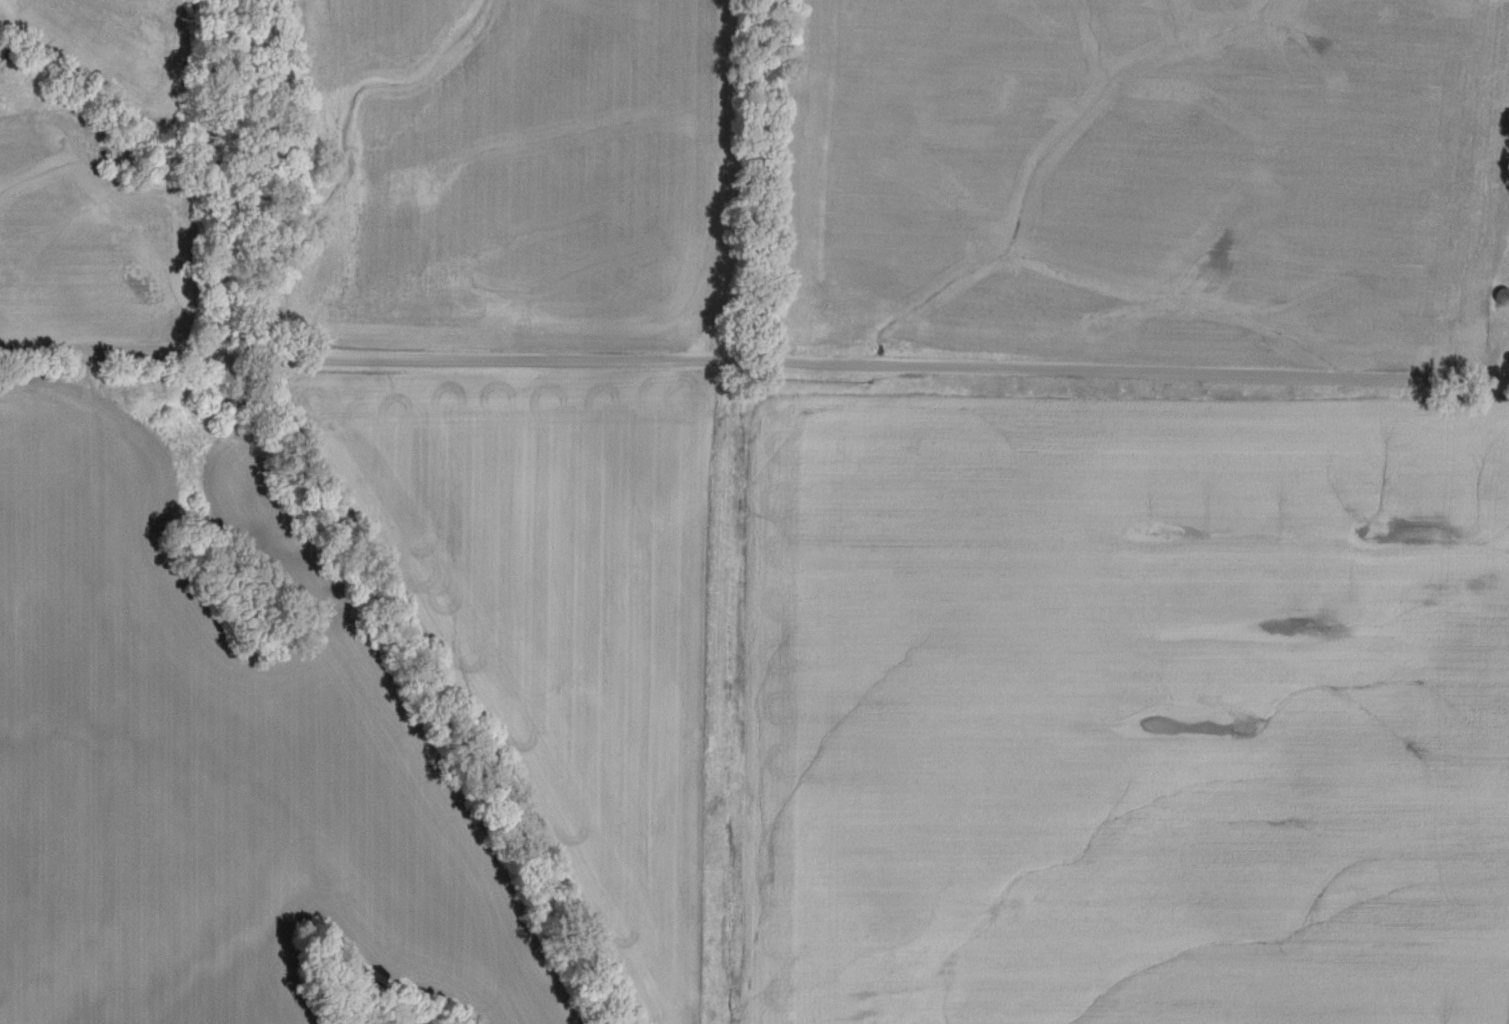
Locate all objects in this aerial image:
road: (725, 183)
building: (1507, 297)
road: (754, 362)

